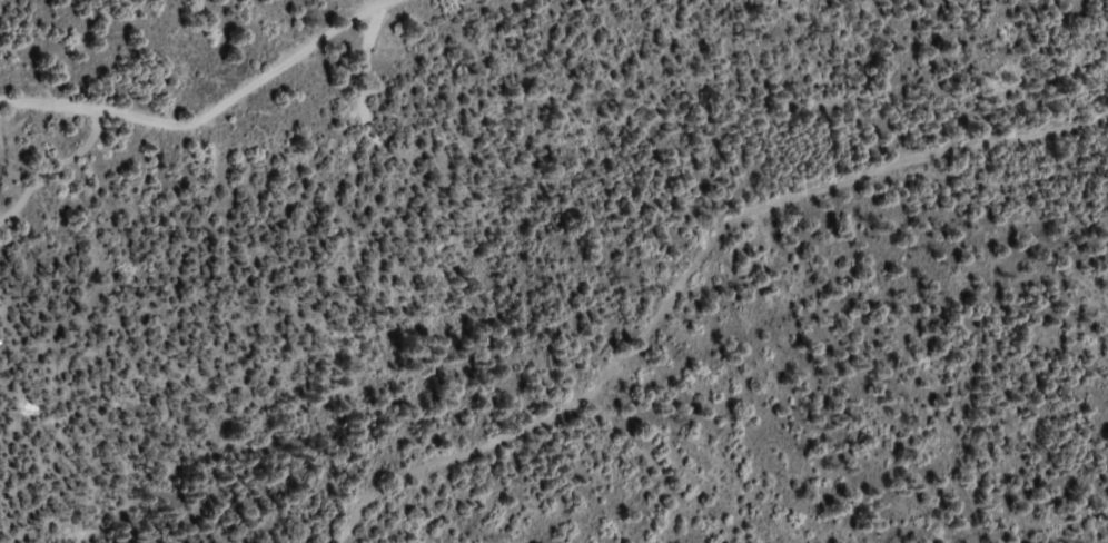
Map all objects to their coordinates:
road: (209, 110)
road: (677, 261)

